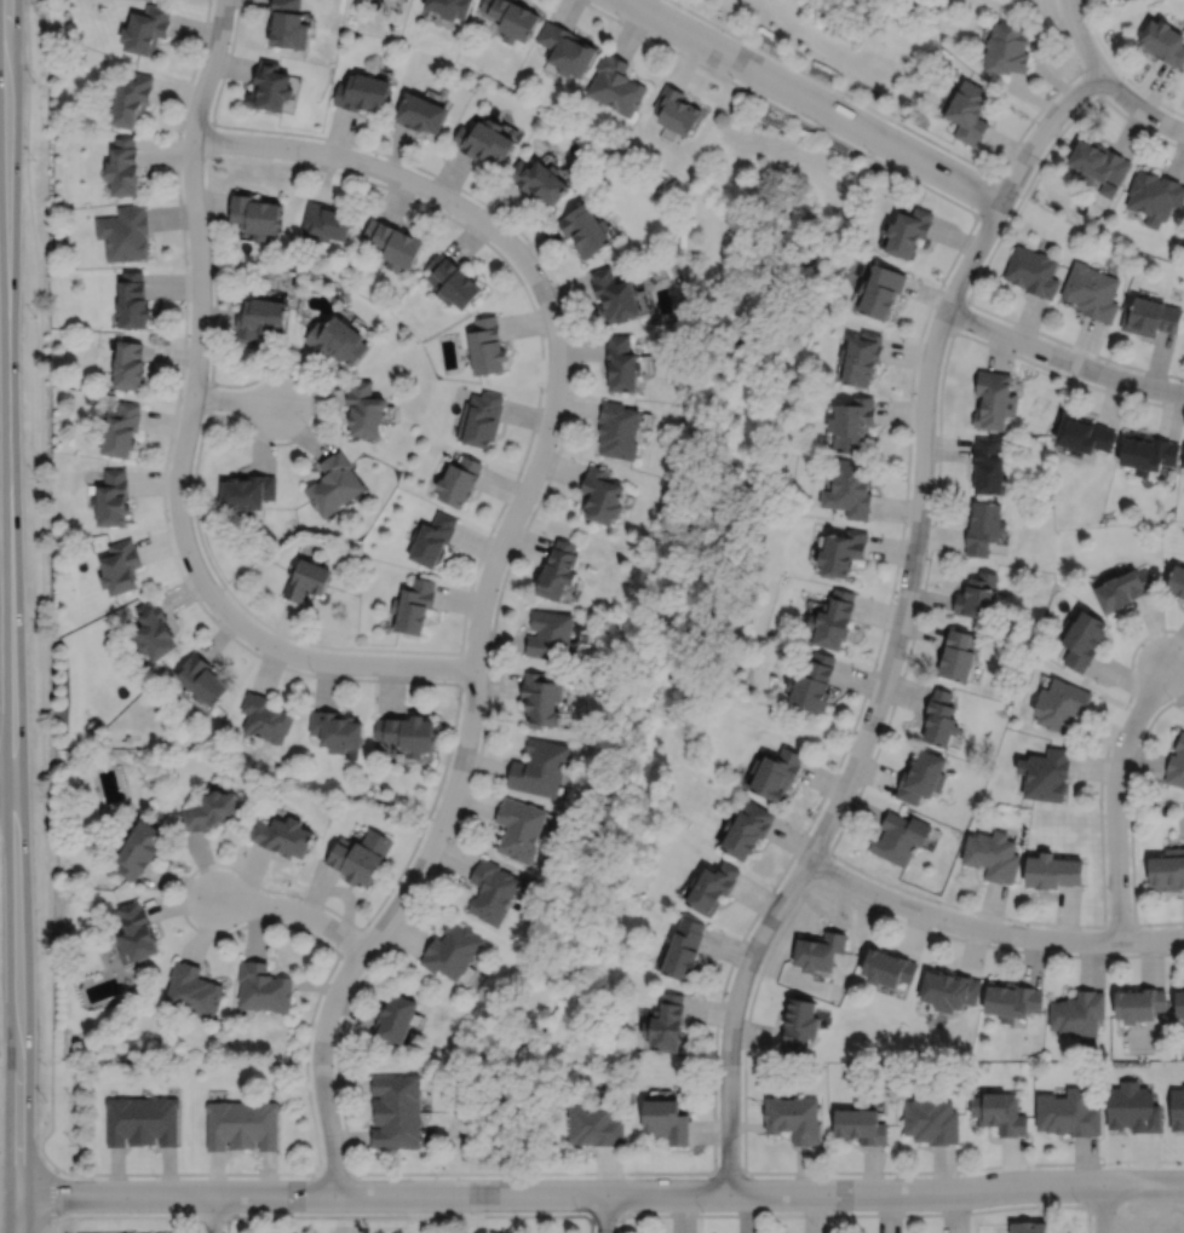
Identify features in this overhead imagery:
street lamp: (211, 4)
building: (450, 8)
building: (513, 19)
building: (288, 25)
building: (148, 30)
road: (1080, 38)
building: (1163, 41)
building: (1007, 47)
building: (568, 51)
road: (1119, 69)
building: (617, 83)
building: (270, 85)
road: (834, 87)
building: (362, 90)
road: (1098, 91)
building: (133, 98)
road: (812, 100)
road: (778, 106)
road: (1138, 106)
building: (676, 108)
building: (969, 109)
building: (421, 110)
street lamp: (180, 136)
building: (485, 138)
street lamp: (301, 160)
building: (1100, 163)
building: (125, 166)
road: (384, 169)
building: (541, 178)
building: (1155, 194)
building: (254, 213)
street lamp: (449, 213)
building: (326, 219)
building: (587, 227)
building: (909, 229)
building: (126, 232)
building: (395, 242)
street lamp: (188, 263)
building: (1033, 270)
building: (453, 280)
street lamp: (552, 283)
building: (881, 289)
building: (1092, 290)
building: (617, 295)
building: (133, 299)
building: (1151, 315)
building: (260, 316)
building: (338, 339)
road: (1073, 344)
building: (488, 345)
building: (862, 356)
road: (1062, 357)
building: (623, 363)
building: (128, 364)
road: (1065, 375)
street lamp: (544, 391)
street lamp: (180, 398)
building: (995, 398)
road: (236, 401)
building: (366, 408)
road: (314, 410)
building: (481, 417)
road: (205, 421)
building: (852, 422)
street lamp: (306, 424)
building: (122, 428)
building: (620, 428)
building: (1086, 434)
road: (185, 440)
road: (168, 444)
building: (1148, 451)
building: (989, 465)
building: (460, 480)
building: (334, 484)
building: (849, 486)
building: (248, 492)
building: (603, 495)
building: (113, 497)
street lamp: (168, 519)
building: (984, 528)
street lamp: (494, 530)
building: (433, 540)
road: (516, 545)
building: (841, 552)
building: (121, 566)
road: (476, 566)
building: (559, 571)
building: (306, 580)
building: (1177, 580)
road: (42, 586)
building: (1126, 589)
building: (978, 595)
building: (414, 606)
road: (886, 613)
road: (10, 616)
street lamp: (214, 616)
building: (833, 620)
road: (900, 623)
road: (915, 626)
building: (153, 630)
building: (550, 634)
building: (1085, 640)
building: (959, 656)
street lamp: (312, 672)
building: (202, 681)
building: (812, 685)
building: (542, 701)
street lamp: (461, 703)
building: (1062, 704)
building: (266, 719)
building: (941, 719)
building: (337, 731)
building: (408, 734)
road: (464, 748)
road: (1104, 755)
building: (1177, 764)
building: (540, 768)
building: (775, 774)
building: (1046, 774)
building: (923, 778)
road: (6, 785)
road: (1115, 795)
road: (1131, 799)
building: (211, 813)
street lamp: (429, 822)
building: (521, 830)
building: (747, 831)
building: (283, 837)
building: (901, 839)
building: (142, 848)
building: (993, 854)
building: (361, 858)
building: (1168, 869)
building: (1053, 870)
road: (182, 885)
building: (712, 886)
building: (492, 891)
street lamp: (298, 899)
road: (294, 910)
road: (1000, 916)
street lamp: (368, 923)
road: (989, 928)
building: (137, 932)
road: (993, 945)
building: (452, 947)
building: (685, 947)
building: (817, 947)
building: (887, 966)
building: (263, 985)
building: (949, 987)
building: (192, 989)
building: (1012, 998)
building: (1179, 998)
building: (1139, 1002)
building: (1079, 1010)
building: (396, 1015)
building: (667, 1021)
building: (798, 1024)
street lamp: (309, 1064)
building: (396, 1110)
building: (1000, 1111)
building: (1068, 1111)
building: (793, 1117)
building: (931, 1117)
building: (667, 1119)
building: (143, 1120)
building: (241, 1123)
building: (594, 1123)
building: (861, 1123)
road: (617, 1171)
street lamp: (964, 1172)
street lamp: (828, 1174)
street lamp: (156, 1176)
street lamp: (306, 1176)
street lamp: (436, 1176)
road: (1088, 1183)
road: (52, 1191)
road: (599, 1193)
road: (1103, 1208)
street lamp: (579, 1211)
road: (605, 1212)
street lamp: (63, 1214)
road: (211, 1214)
road: (584, 1215)
road: (591, 1223)
road: (619, 1223)
road: (53, 1225)
road: (196, 1225)
road: (226, 1225)
building: (1029, 1226)

